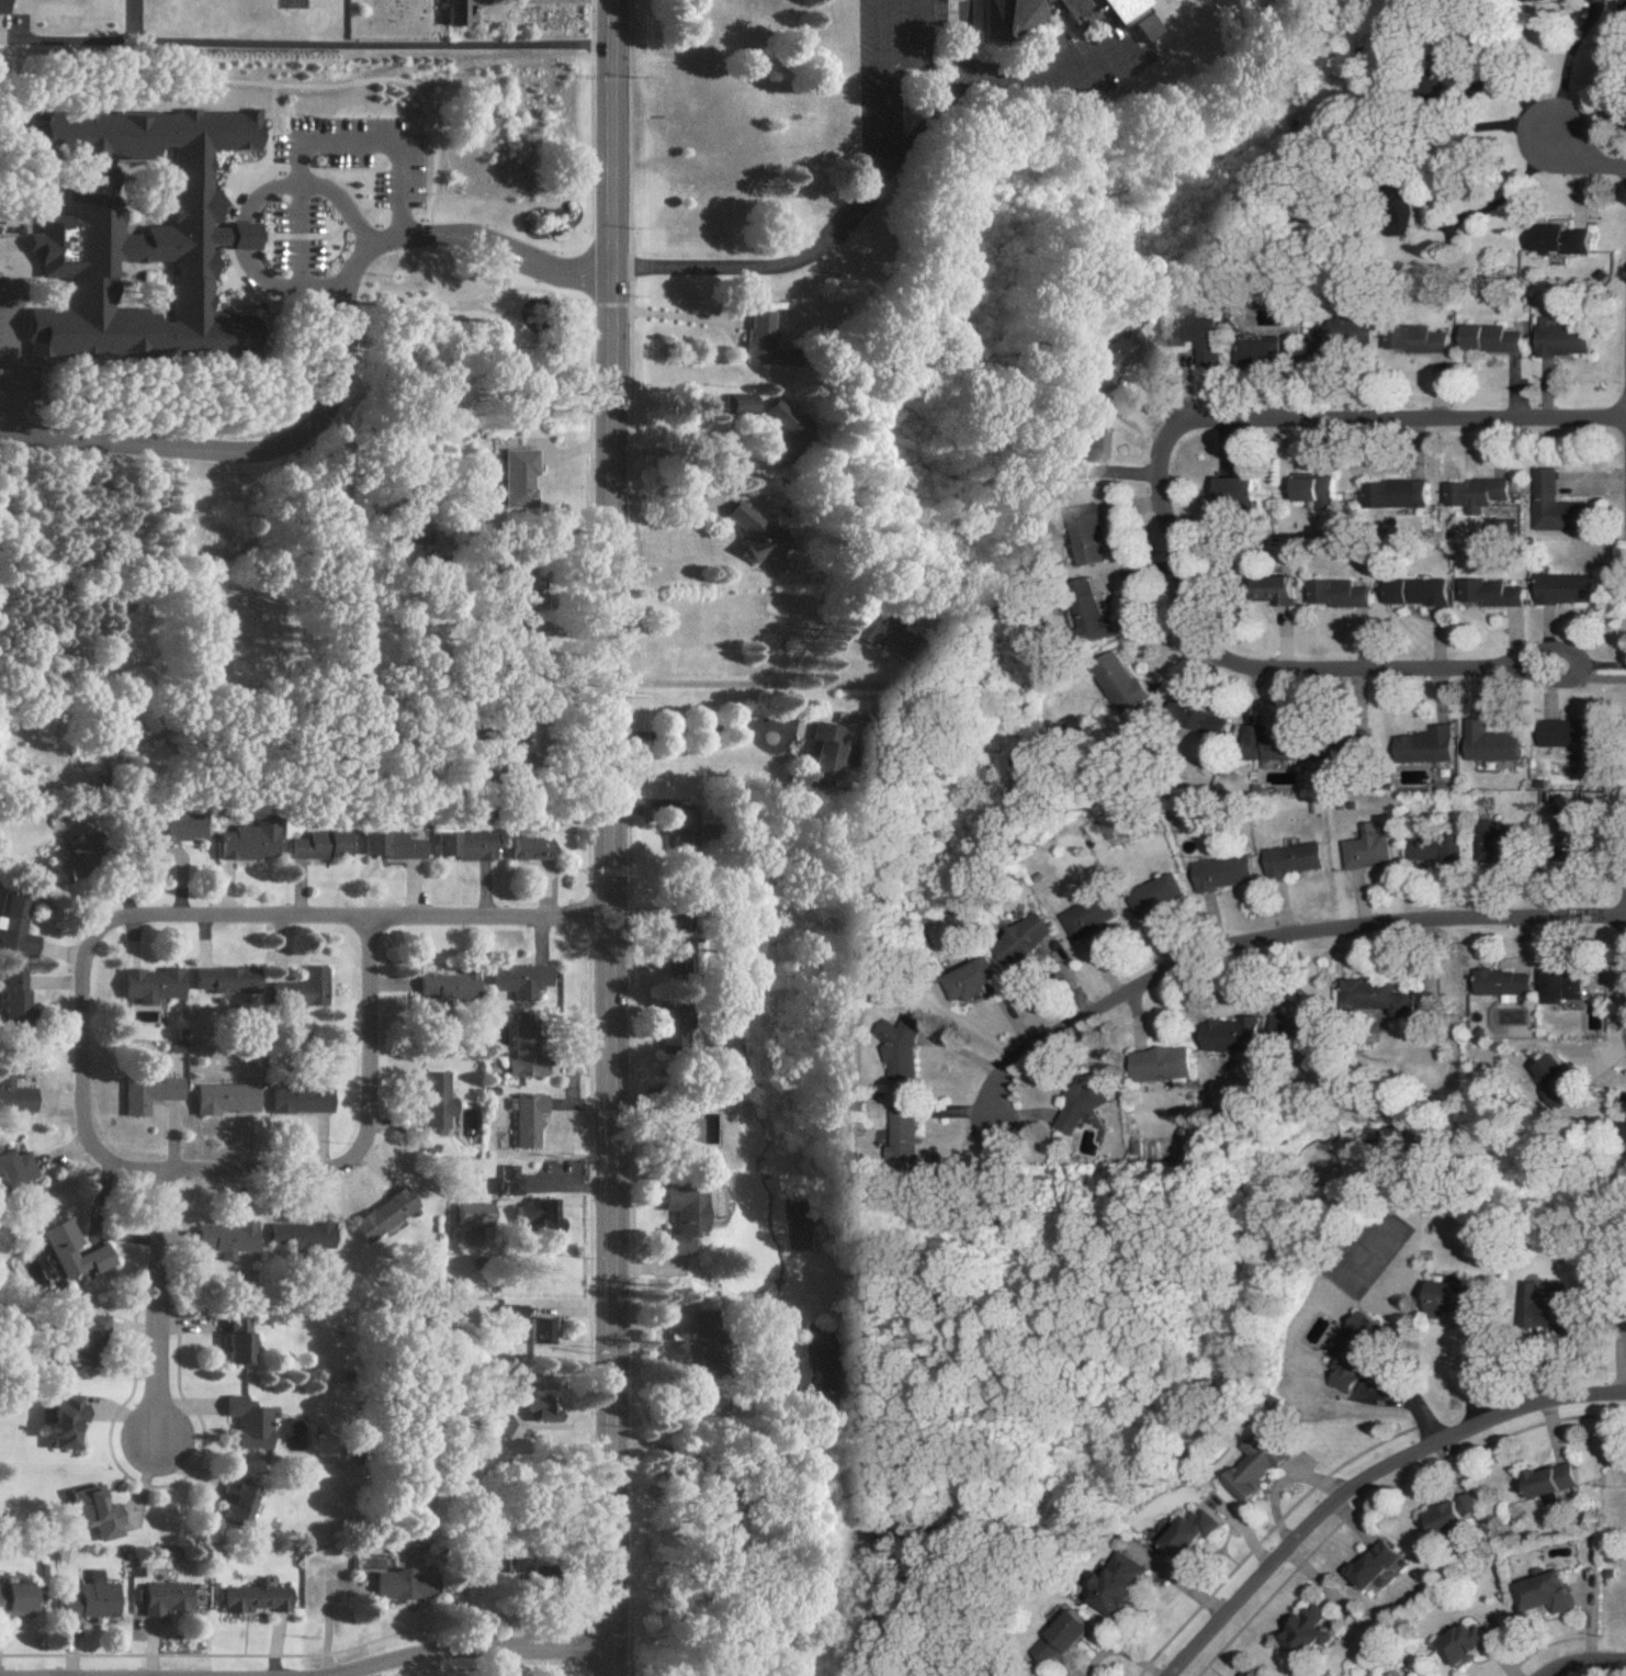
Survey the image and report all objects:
building: (4, 7)
building: (1084, 9)
building: (454, 12)
building: (1127, 15)
building: (1008, 16)
road: (881, 32)
road: (215, 42)
road: (942, 50)
road: (1563, 66)
road: (881, 122)
road: (306, 142)
road: (1583, 159)
road: (350, 198)
building: (1560, 238)
road: (763, 265)
building: (1199, 334)
building: (1346, 335)
building: (1415, 338)
building: (1491, 338)
building: (760, 340)
building: (1565, 340)
building: (1266, 352)
building: (1108, 358)
road: (11, 360)
road: (343, 374)
building: (739, 403)
building: (778, 416)
road: (1397, 420)
road: (682, 451)
building: (1084, 453)
building: (1240, 488)
building: (1320, 488)
building: (1479, 493)
building: (1398, 494)
road: (667, 497)
building: (1557, 504)
building: (1089, 530)
building: (750, 532)
building: (1278, 588)
building: (1567, 588)
building: (530, 590)
building: (1418, 592)
building: (1492, 592)
building: (1340, 593)
building: (1095, 620)
building: (858, 628)
road: (1268, 673)
road: (1591, 676)
road: (764, 683)
building: (1123, 684)
building: (1208, 721)
road: (682, 725)
building: (1565, 733)
building: (1490, 739)
building: (824, 743)
building: (1427, 744)
building: (1283, 745)
building: (1570, 825)
road: (607, 837)
building: (1504, 840)
building: (242, 842)
building: (317, 845)
building: (388, 845)
building: (463, 845)
building: (1367, 847)
building: (1450, 847)
building: (530, 848)
building: (1423, 848)
building: (1292, 858)
building: (69, 862)
building: (1223, 871)
building: (1156, 893)
building: (1093, 915)
road: (347, 919)
building: (13, 927)
building: (1028, 938)
road: (1273, 941)
building: (971, 979)
building: (222, 980)
building: (519, 980)
building: (1504, 983)
building: (148, 985)
building: (1570, 985)
building: (447, 986)
building: (298, 990)
building: (11, 994)
building: (1385, 997)
building: (1290, 1024)
building: (1235, 1034)
building: (667, 1039)
building: (903, 1048)
building: (1163, 1064)
road: (78, 1075)
building: (1560, 1077)
building: (12, 1091)
building: (145, 1092)
building: (221, 1098)
building: (296, 1100)
building: (432, 1102)
building: (1083, 1105)
building: (526, 1118)
building: (680, 1131)
building: (905, 1131)
road: (359, 1140)
building: (13, 1168)
building: (507, 1179)
building: (472, 1213)
building: (382, 1214)
building: (533, 1214)
building: (678, 1214)
building: (297, 1234)
building: (224, 1238)
building: (69, 1250)
road: (153, 1306)
building: (539, 1330)
building: (80, 1336)
building: (236, 1338)
building: (1358, 1351)
building: (540, 1409)
building: (63, 1421)
building: (246, 1422)
building: (494, 1424)
building: (1258, 1469)
building: (1554, 1478)
road: (1287, 1480)
road: (1366, 1481)
building: (92, 1511)
building: (1456, 1515)
building: (1196, 1532)
building: (1378, 1564)
building: (393, 1584)
building: (1122, 1584)
building: (1549, 1591)
building: (12, 1597)
building: (156, 1597)
building: (251, 1597)
building: (86, 1598)
building: (1310, 1632)
building: (1069, 1634)
building: (1468, 1643)
road: (472, 1652)
road: (1122, 1652)
road: (1585, 1664)
road: (1065, 1668)
building: (1250, 1674)

